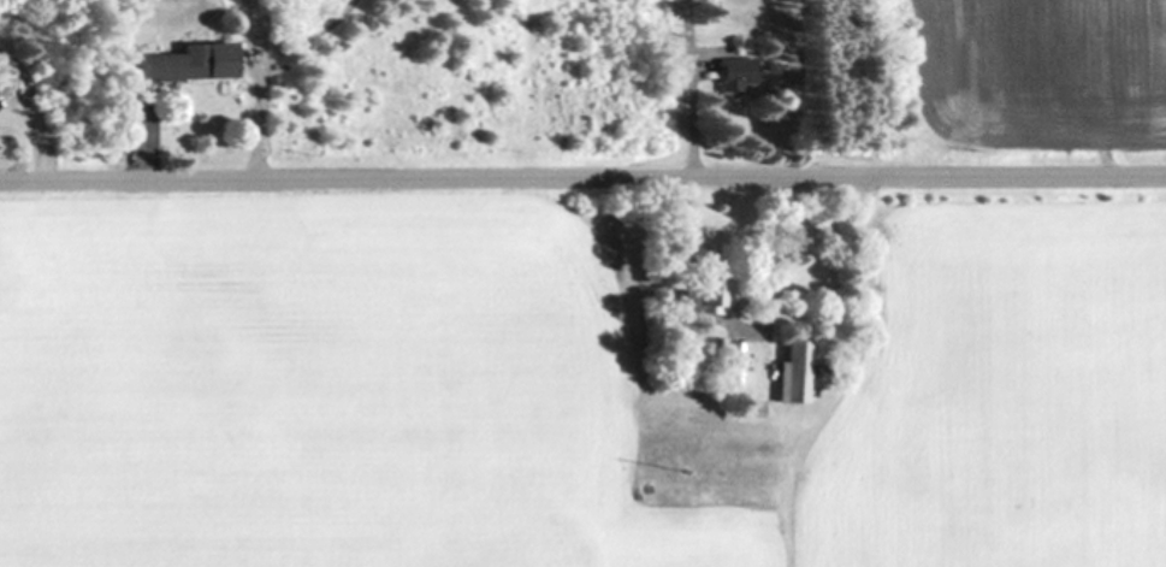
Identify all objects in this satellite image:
building: (188, 63)
building: (736, 75)
road: (582, 177)
building: (704, 295)
building: (735, 362)
building: (793, 372)
building: (751, 408)

